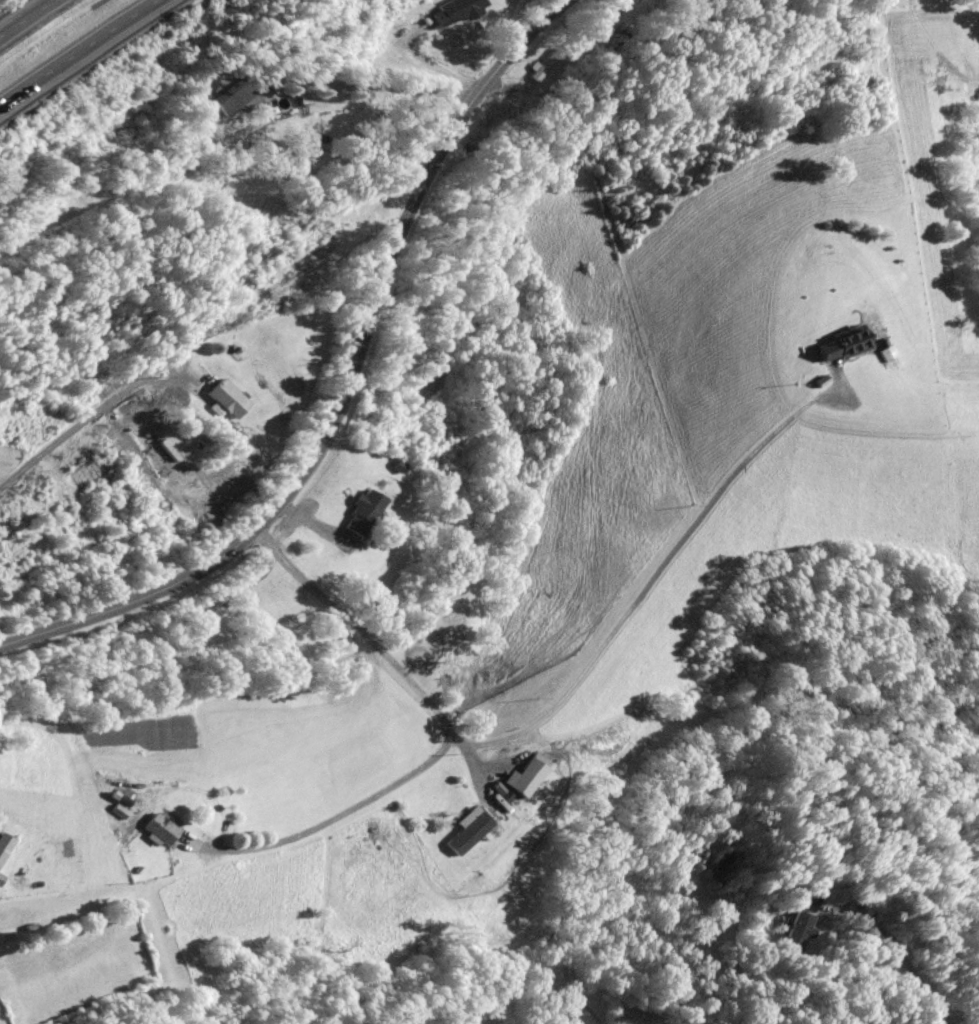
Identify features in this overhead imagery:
building: (462, 10)
road: (25, 16)
road: (82, 54)
road: (440, 64)
building: (546, 65)
road: (502, 85)
road: (375, 88)
building: (240, 96)
building: (842, 343)
building: (885, 353)
building: (823, 380)
road: (344, 385)
road: (829, 391)
building: (228, 397)
road: (87, 417)
building: (398, 467)
building: (364, 512)
road: (315, 521)
road: (635, 597)
road: (367, 639)
road: (476, 774)
building: (527, 775)
building: (506, 791)
building: (115, 803)
road: (313, 825)
building: (159, 827)
building: (472, 832)
building: (4, 843)
building: (1, 878)
building: (803, 902)
building: (797, 931)
building: (9, 941)
road: (888, 947)
building: (753, 957)

